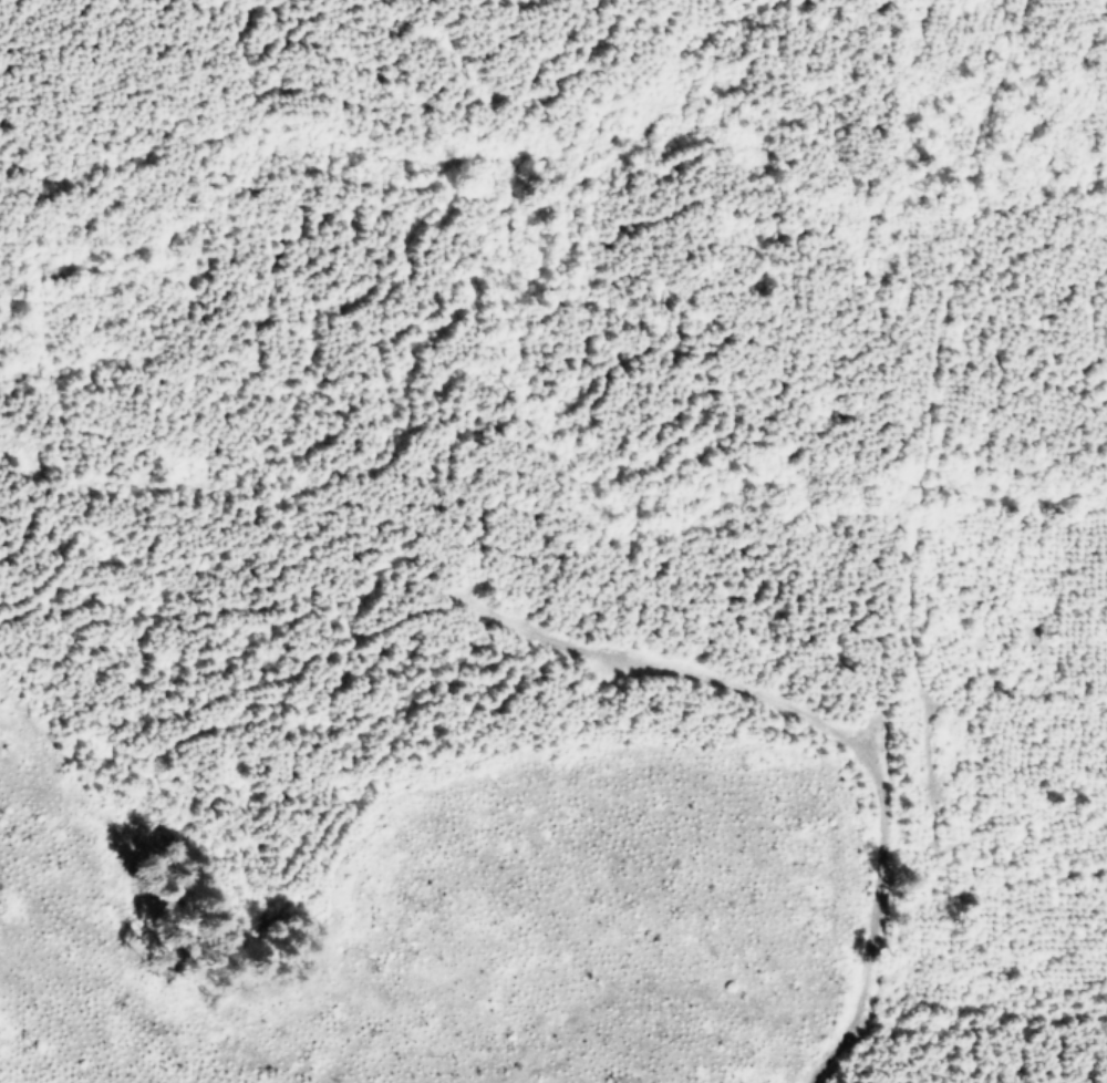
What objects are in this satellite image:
road: (28, 278)
road: (910, 545)

